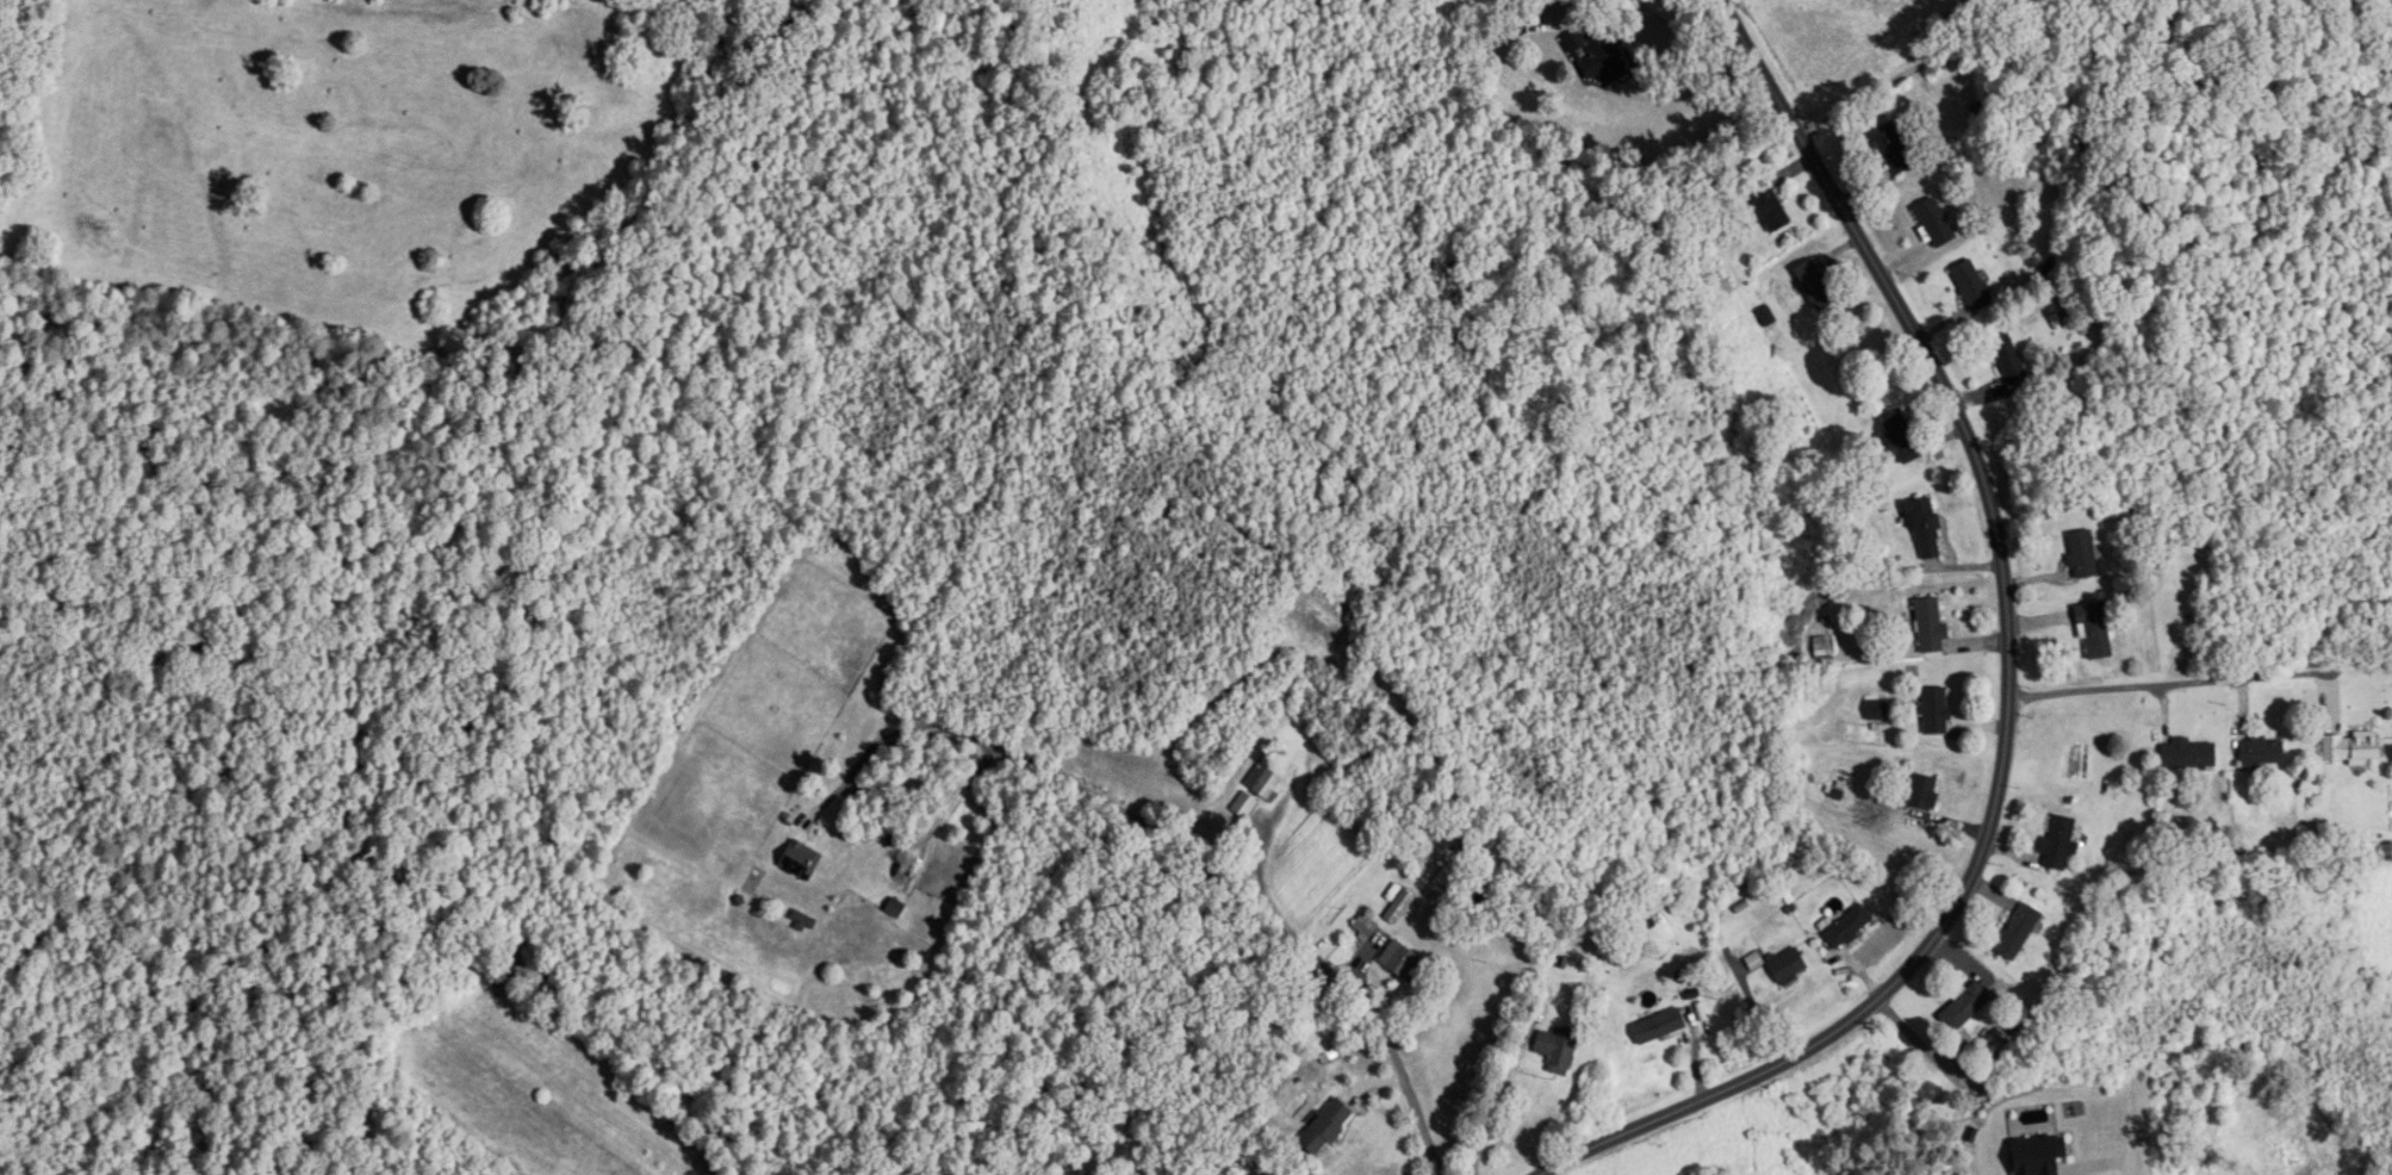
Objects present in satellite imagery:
road: (1974, 10)
road: (1564, 12)
road: (1990, 13)
road: (1685, 17)
building: (1597, 56)
road: (1890, 81)
building: (1893, 149)
building: (1771, 207)
building: (1936, 223)
building: (1816, 285)
building: (1972, 285)
building: (2009, 359)
building: (1901, 436)
building: (1926, 529)
building: (2083, 555)
building: (1932, 626)
building: (2095, 629)
building: (1822, 647)
road: (2009, 676)
road: (2183, 680)
building: (1877, 710)
building: (1936, 710)
building: (2353, 748)
building: (2262, 753)
building: (2189, 754)
building: (1266, 777)
road: (1082, 788)
building: (1922, 792)
building: (1245, 804)
building: (2061, 841)
building: (802, 860)
building: (1447, 872)
building: (1400, 907)
building: (897, 908)
building: (1850, 927)
building: (2019, 932)
building: (1403, 962)
building: (1788, 965)
road: (1340, 975)
building: (1964, 1008)
building: (1660, 1027)
building: (1558, 1052)
road: (1485, 1107)
building: (1328, 1127)

